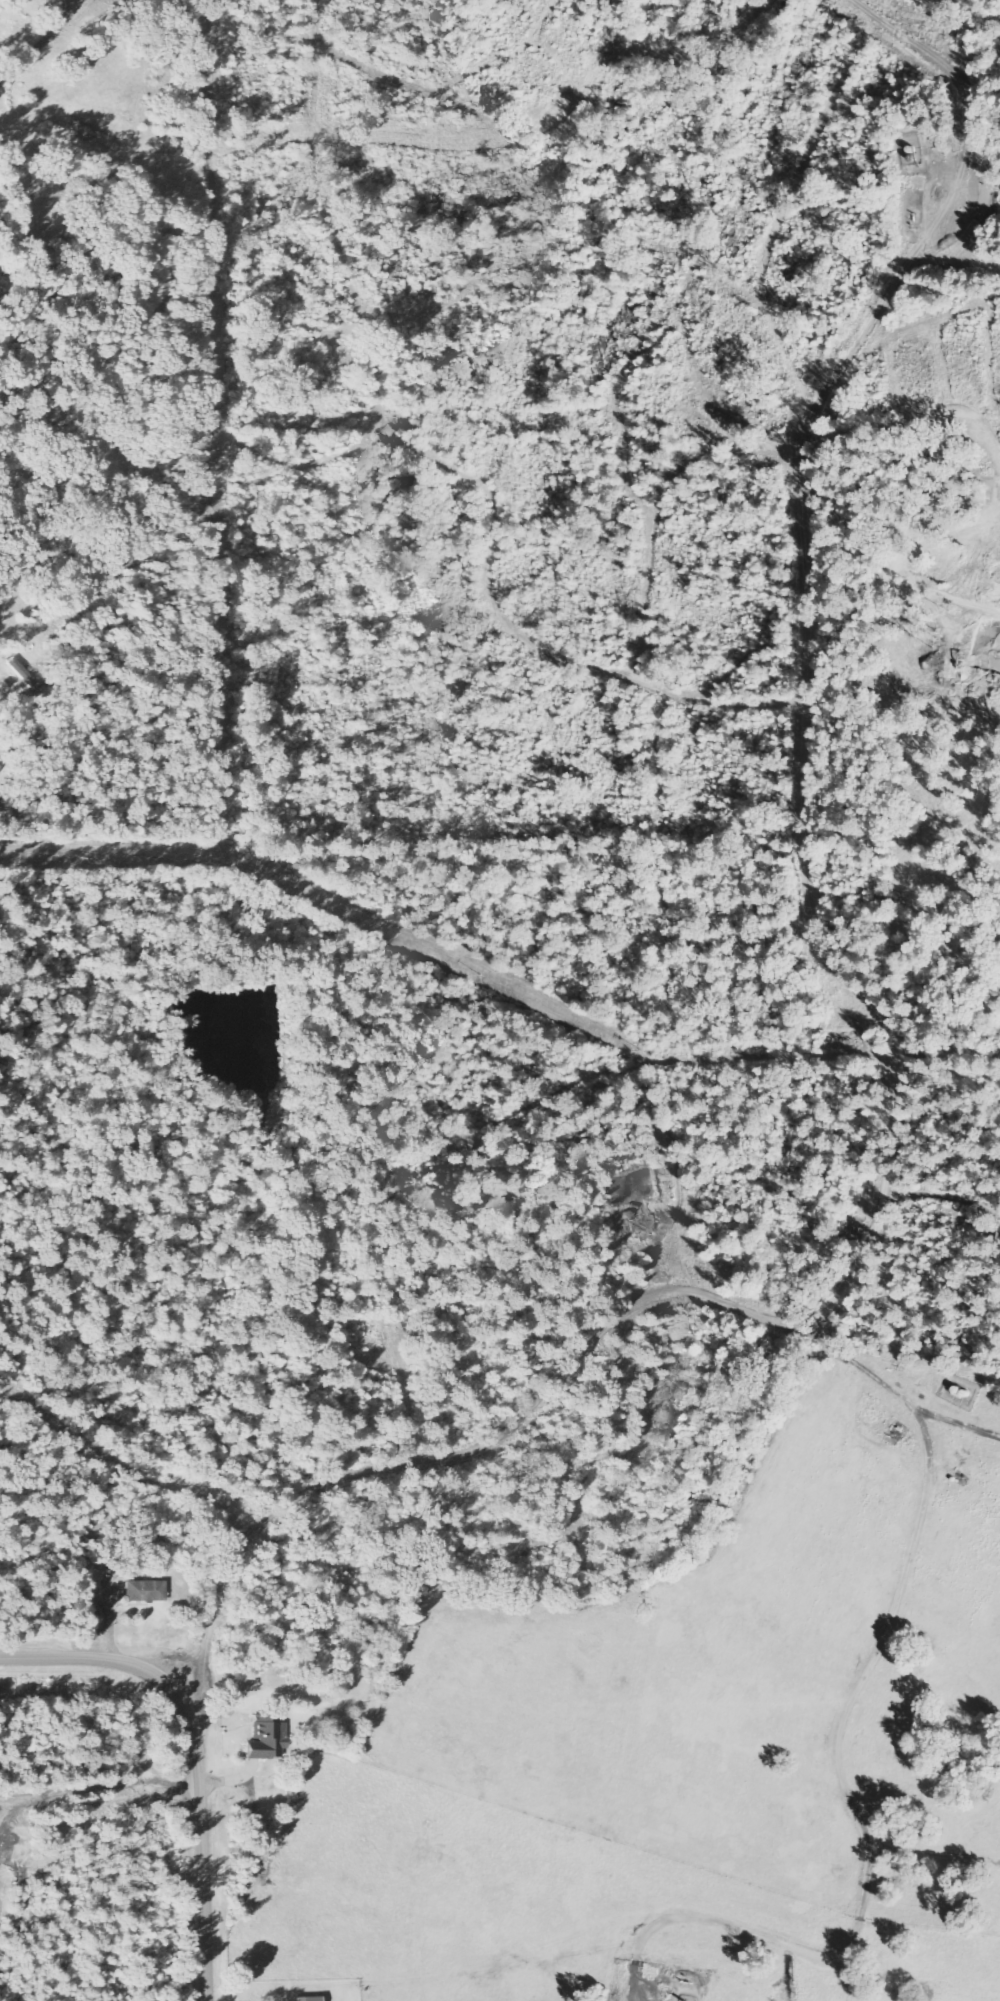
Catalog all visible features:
road: (43, 45)
building: (3, 692)
road: (804, 759)
building: (0, 767)
road: (540, 1397)
building: (148, 1592)
building: (268, 1738)
road: (195, 1752)
road: (99, 1788)
road: (854, 1807)

